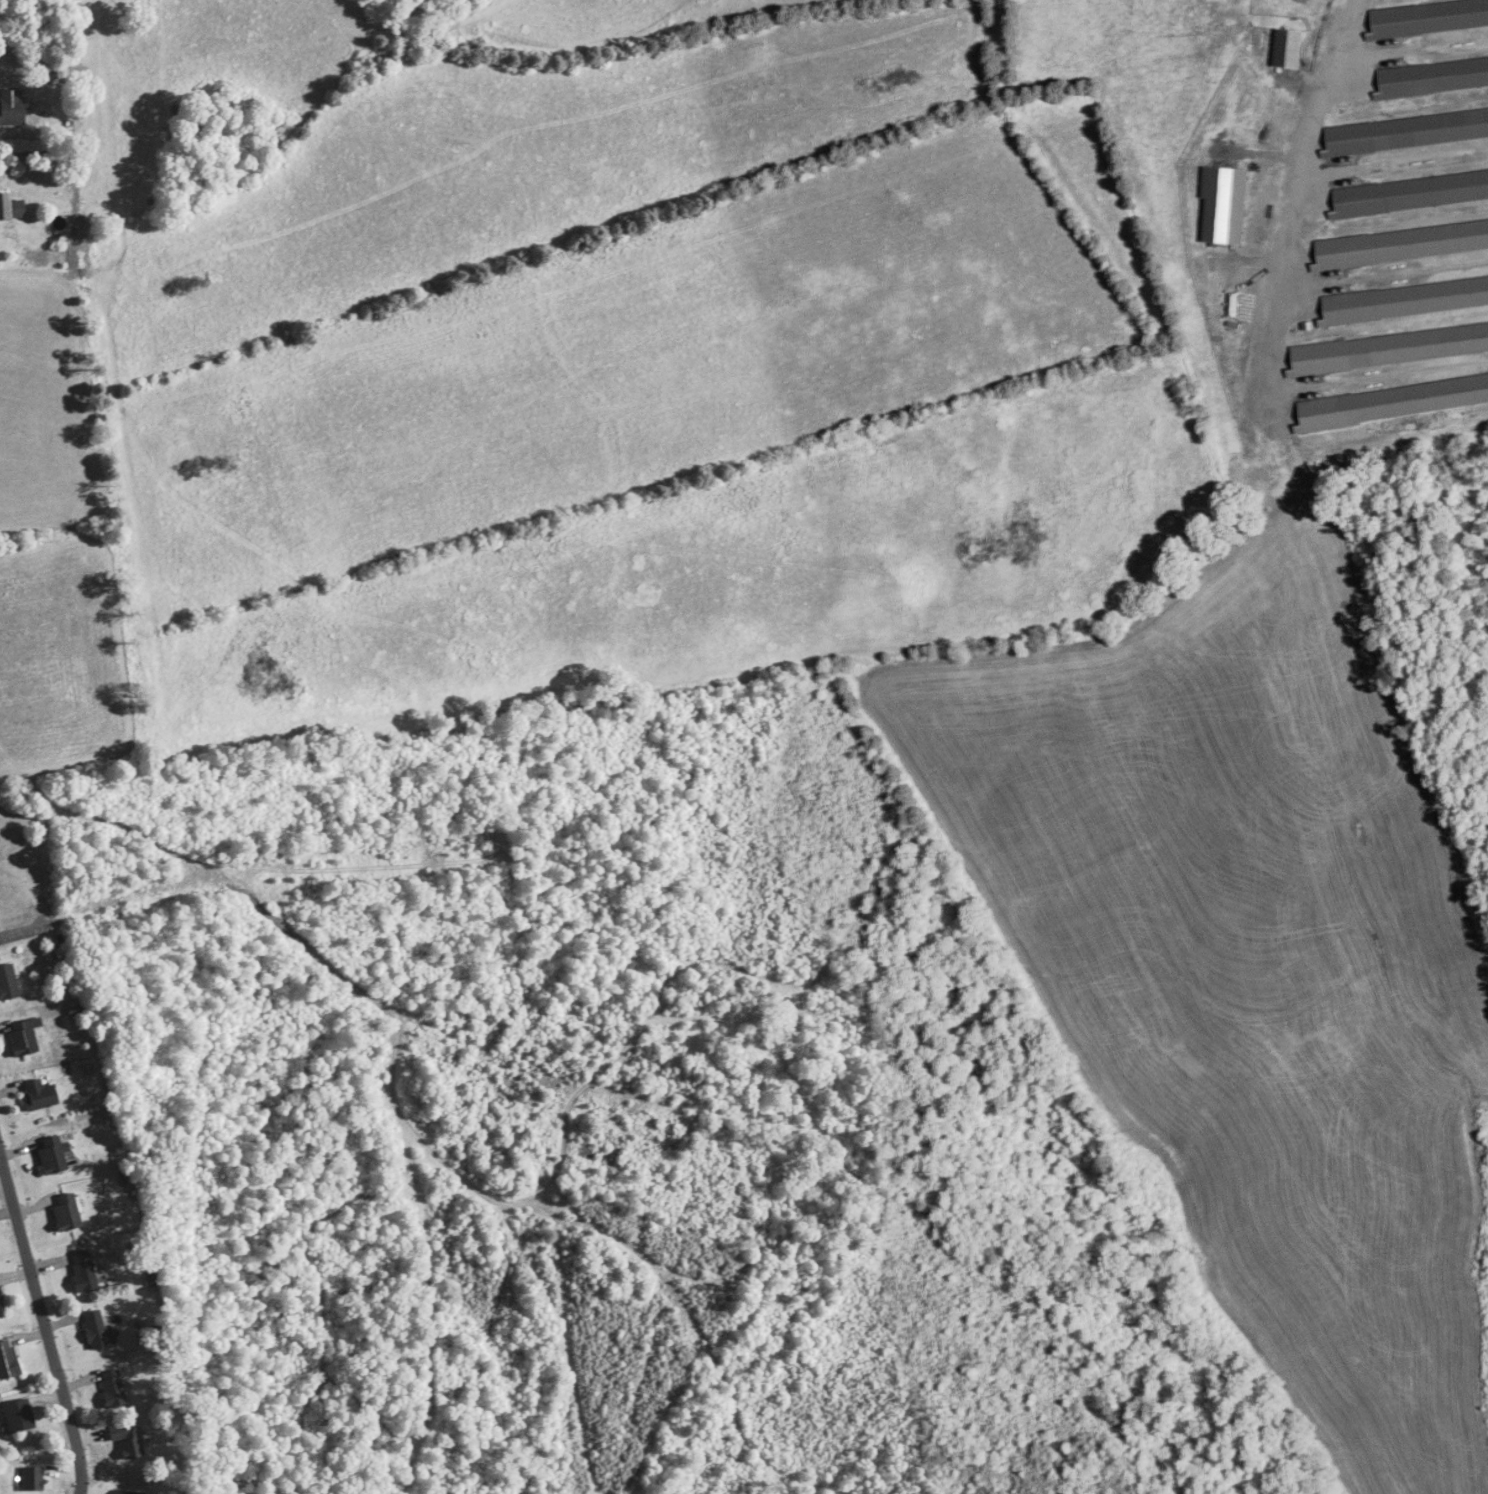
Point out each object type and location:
building: (1429, 16)
building: (1290, 49)
building: (1434, 76)
building: (12, 108)
building: (1407, 131)
road: (1299, 182)
building: (1411, 193)
building: (11, 208)
road: (31, 929)
building: (8, 982)
building: (23, 1037)
building: (38, 1094)
building: (51, 1155)
building: (65, 1212)
building: (82, 1270)
building: (1, 1308)
road: (44, 1324)
building: (94, 1330)
building: (8, 1360)
building: (112, 1388)
building: (18, 1416)

